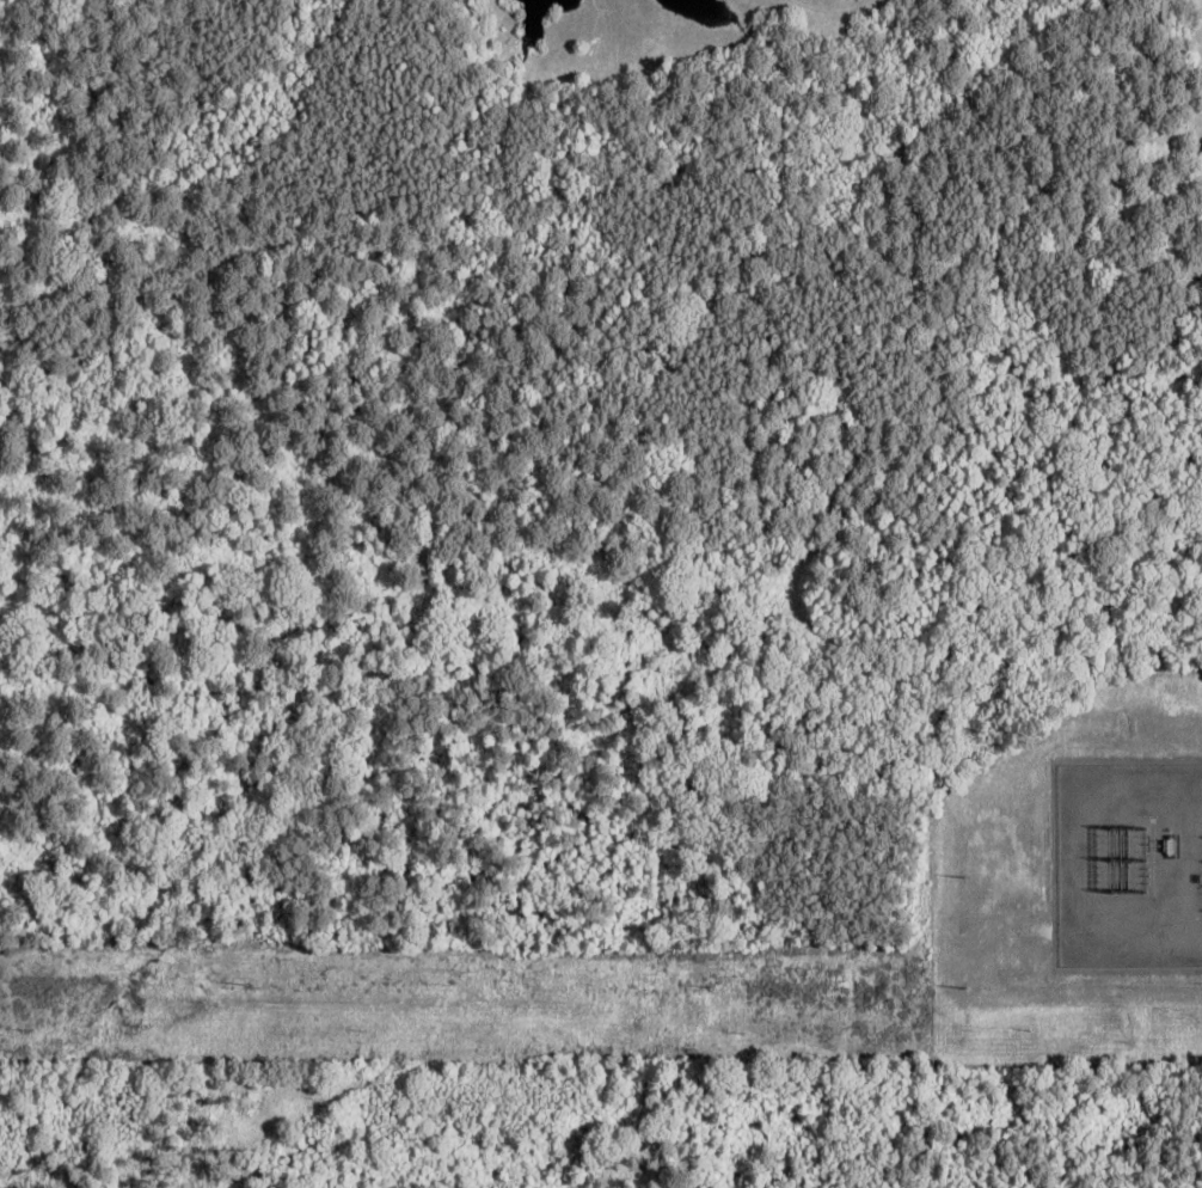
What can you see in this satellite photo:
power substation: (1126, 859)

